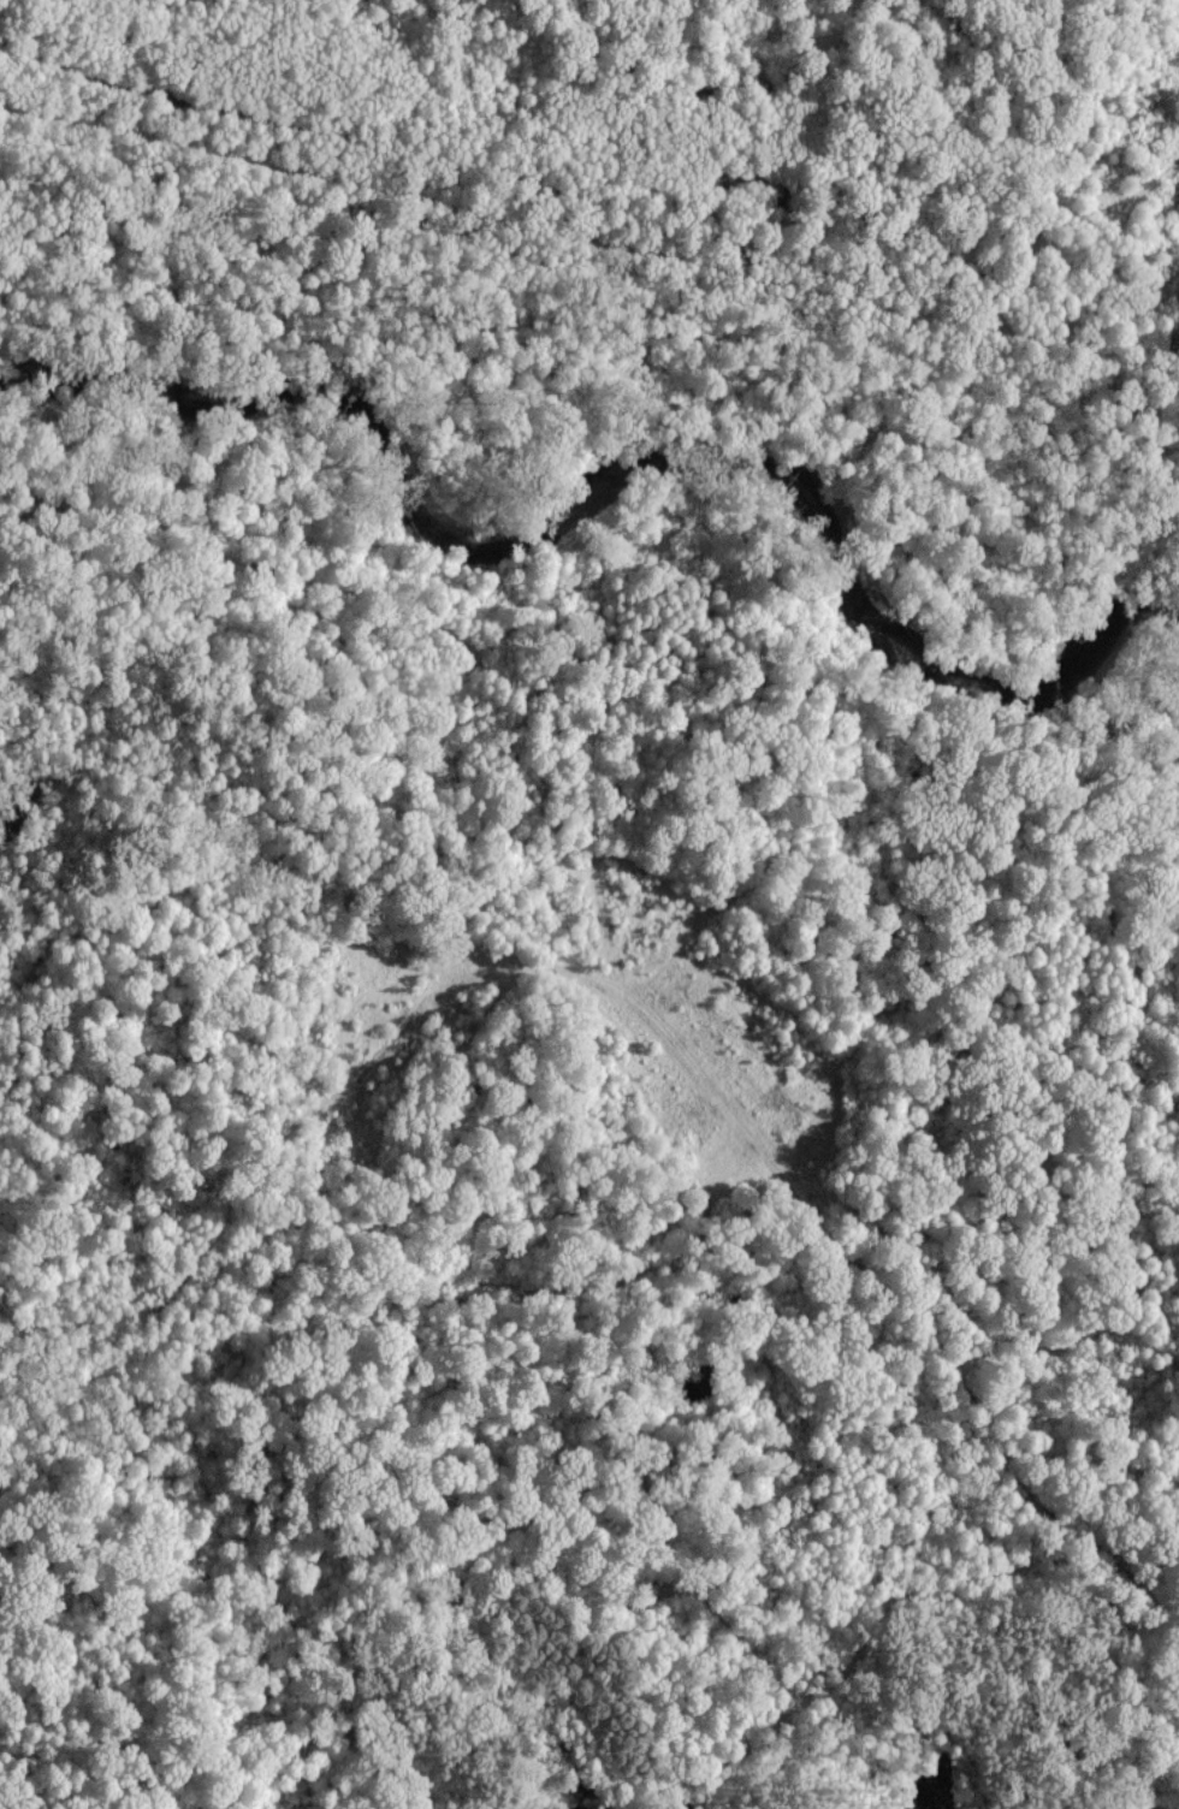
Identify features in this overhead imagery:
park: (973, 1588)

